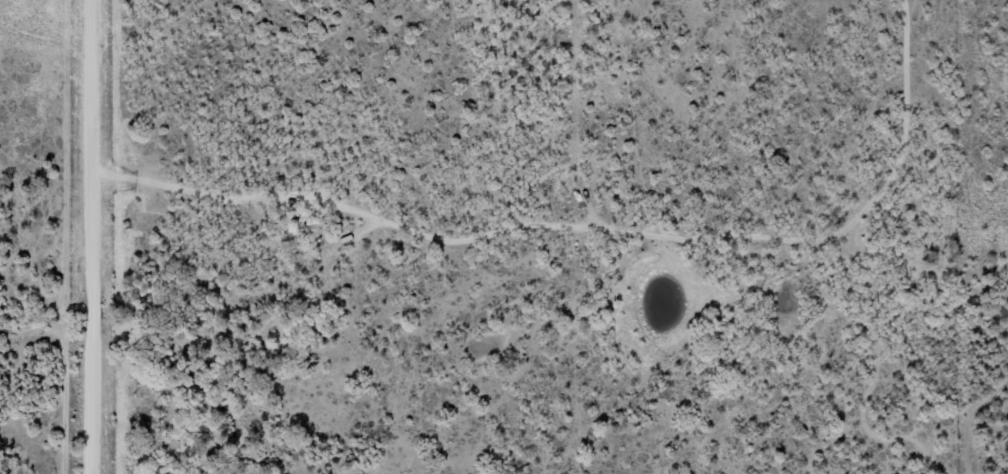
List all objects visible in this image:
road: (606, 210)
road: (115, 237)

